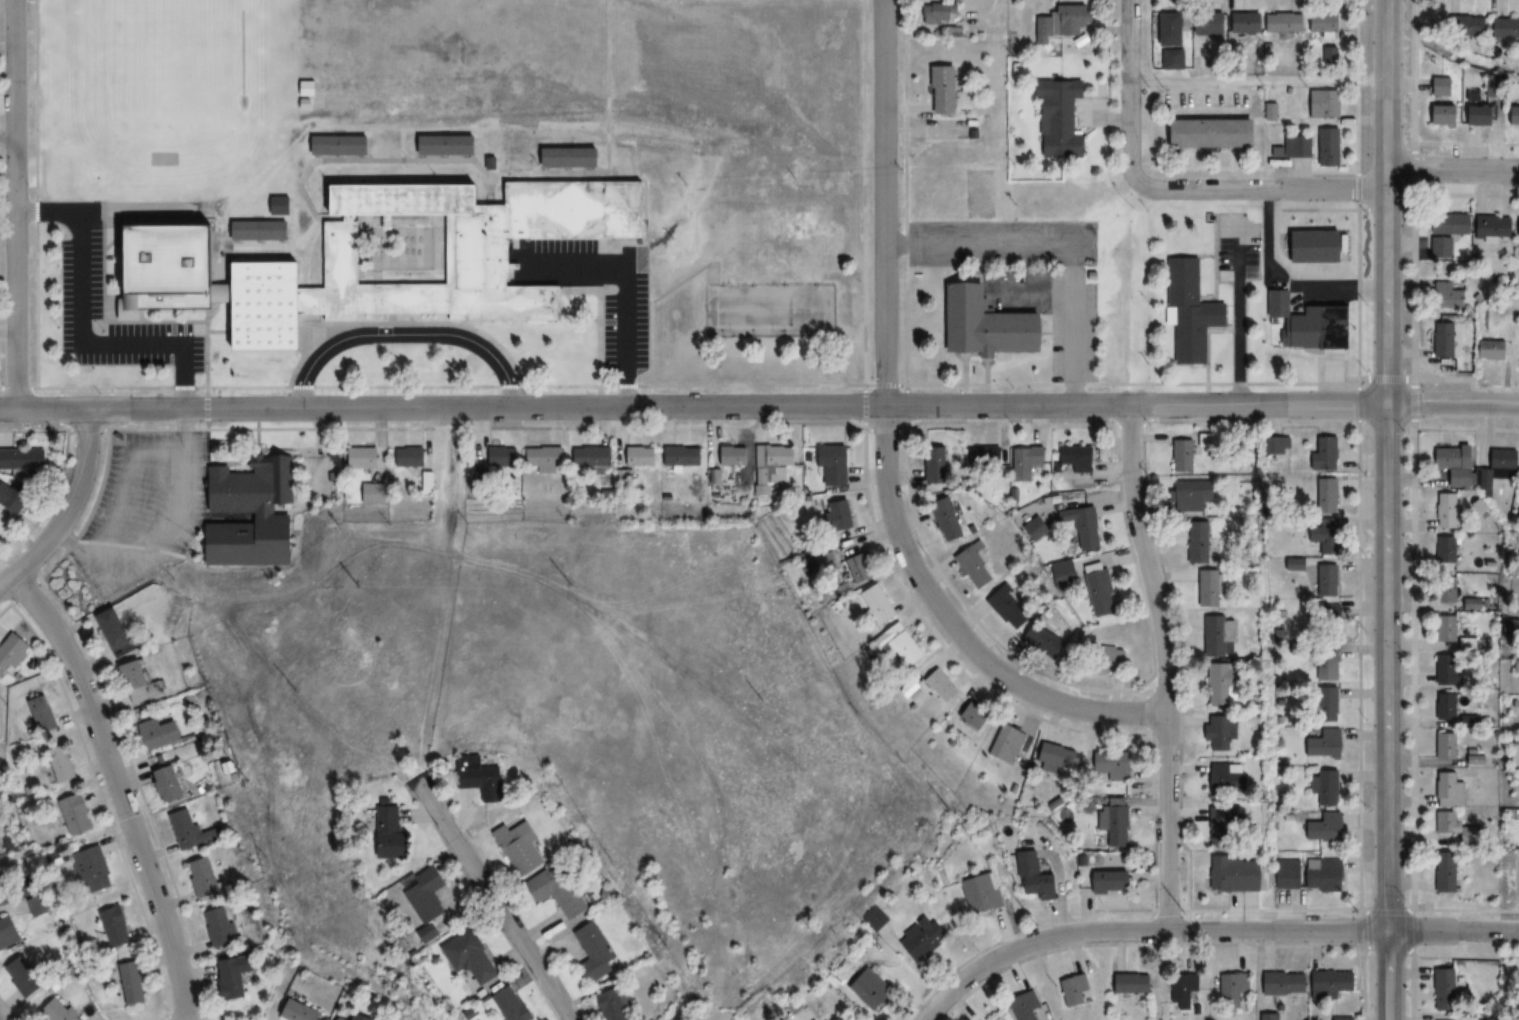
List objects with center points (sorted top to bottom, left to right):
building: (946, 19)
building: (1055, 22)
building: (1203, 23)
building: (1279, 23)
building: (1320, 23)
building: (1239, 24)
building: (1462, 26)
building: (1502, 28)
building: (1163, 29)
road: (6, 46)
building: (1168, 60)
park: (168, 65)
building: (1437, 86)
building: (305, 87)
road: (607, 87)
building: (946, 90)
road: (1130, 91)
building: (305, 103)
building: (1319, 104)
building: (1268, 112)
building: (1438, 115)
building: (1473, 115)
building: (1510, 116)
building: (1055, 117)
building: (1204, 133)
road: (6, 138)
building: (447, 146)
building: (340, 147)
building: (1295, 147)
building: (1325, 147)
road: (414, 160)
building: (570, 160)
building: (490, 162)
road: (1454, 170)
road: (1263, 189)
road: (36, 193)
road: (489, 194)
road: (13, 204)
building: (280, 204)
road: (300, 204)
road: (865, 209)
road: (136, 210)
road: (46, 211)
road: (654, 213)
road: (168, 221)
building: (1445, 224)
building: (1489, 226)
building: (1516, 227)
building: (260, 230)
road: (104, 235)
parking lot: (1000, 241)
road: (284, 245)
building: (459, 245)
road: (240, 246)
road: (262, 246)
building: (1438, 248)
road: (252, 250)
building: (168, 265)
road: (303, 265)
road: (121, 272)
road: (625, 276)
road: (688, 279)
parking lot: (83, 284)
road: (602, 289)
building: (227, 294)
building: (1443, 296)
building: (1278, 302)
building: (265, 305)
parking lot: (1053, 310)
road: (210, 312)
park: (769, 312)
building: (1186, 312)
road: (393, 318)
road: (406, 318)
road: (193, 322)
road: (332, 323)
road: (403, 323)
road: (600, 323)
building: (986, 325)
building: (1518, 326)
road: (219, 331)
parking lot: (626, 331)
road: (6, 333)
road: (307, 333)
road: (403, 335)
building: (1307, 338)
building: (1440, 340)
road: (80, 345)
building: (1486, 350)
building: (1517, 354)
road: (6, 387)
road: (458, 387)
road: (523, 389)
road: (112, 391)
road: (131, 391)
road: (186, 391)
road: (625, 393)
road: (1454, 404)
road: (912, 405)
road: (208, 408)
road: (217, 408)
road: (884, 442)
building: (1274, 446)
building: (1320, 454)
building: (734, 455)
building: (640, 456)
building: (987, 456)
building: (1030, 456)
building: (1179, 456)
building: (410, 457)
building: (592, 457)
building: (683, 457)
building: (362, 458)
building: (502, 458)
building: (544, 458)
building: (1078, 458)
building: (839, 460)
building: (24, 461)
building: (773, 464)
road: (1388, 464)
building: (937, 465)
building: (1448, 466)
building: (1497, 466)
building: (1518, 477)
building: (425, 482)
building: (371, 491)
building: (1189, 493)
building: (1323, 495)
building: (13, 500)
road: (64, 506)
parking lot: (142, 508)
building: (1445, 510)
building: (250, 511)
building: (840, 515)
building: (950, 521)
building: (1035, 528)
building: (1088, 529)
building: (1323, 536)
building: (1194, 542)
building: (1444, 549)
building: (972, 558)
building: (824, 563)
building: (1292, 565)
building: (861, 568)
building: (1065, 574)
building: (1324, 581)
building: (1205, 588)
building: (1443, 589)
building: (1101, 593)
road: (446, 595)
building: (877, 605)
building: (1009, 607)
building: (1325, 619)
building: (1442, 628)
building: (115, 630)
building: (1216, 635)
building: (1046, 641)
building: (1464, 644)
building: (904, 651)
building: (11, 653)
building: (1113, 658)
road: (1166, 665)
building: (1323, 667)
building: (1444, 670)
building: (139, 683)
building: (1218, 684)
building: (940, 686)
road: (283, 690)
building: (1517, 703)
building: (1323, 705)
building: (1443, 708)
building: (41, 714)
building: (974, 715)
building: (158, 734)
building: (1215, 734)
building: (1007, 743)
building: (1320, 744)
building: (1444, 747)
building: (1057, 758)
building: (61, 764)
building: (1112, 765)
building: (484, 777)
building: (1222, 777)
building: (169, 784)
building: (1323, 787)
road: (117, 789)
building: (1444, 790)
building: (76, 813)
building: (1222, 819)
building: (1113, 821)
building: (1444, 823)
building: (1321, 828)
building: (189, 830)
building: (395, 832)
building: (522, 846)
building: (93, 868)
building: (1441, 873)
building: (1228, 874)
building: (1319, 875)
building: (203, 877)
building: (1038, 879)
building: (2, 880)
building: (1113, 882)
building: (566, 890)
building: (984, 893)
building: (430, 894)
road: (494, 901)
building: (875, 918)
building: (117, 926)
building: (220, 927)
road: (1140, 928)
road: (1453, 930)
building: (8, 932)
building: (925, 938)
building: (598, 951)
building: (473, 955)
building: (22, 973)
road: (1387, 974)
building: (236, 975)
building: (1334, 981)
building: (133, 982)
building: (1286, 983)
building: (1446, 988)
building: (871, 989)
building: (1075, 990)
building: (1185, 990)
building: (1236, 990)
building: (620, 1003)
building: (510, 1005)
building: (1026, 1006)
building: (57, 1010)
building: (300, 1011)
building: (343, 1018)

